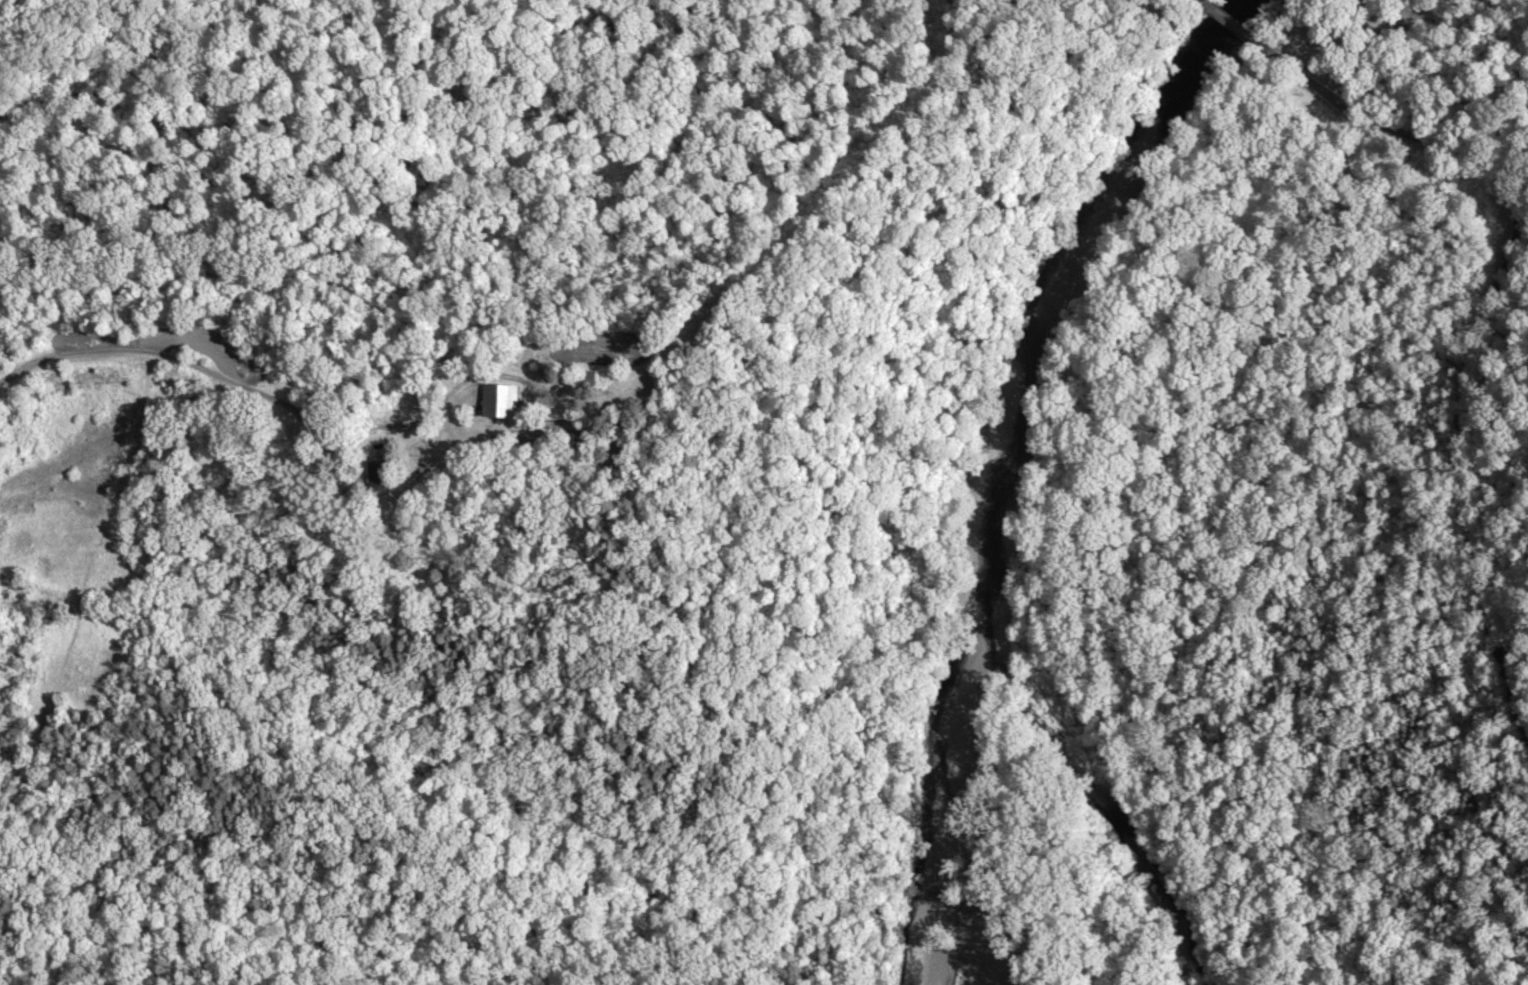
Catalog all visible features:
road: (1207, 2)
road: (1239, 28)
road: (1492, 303)
building: (499, 406)
building: (376, 469)

